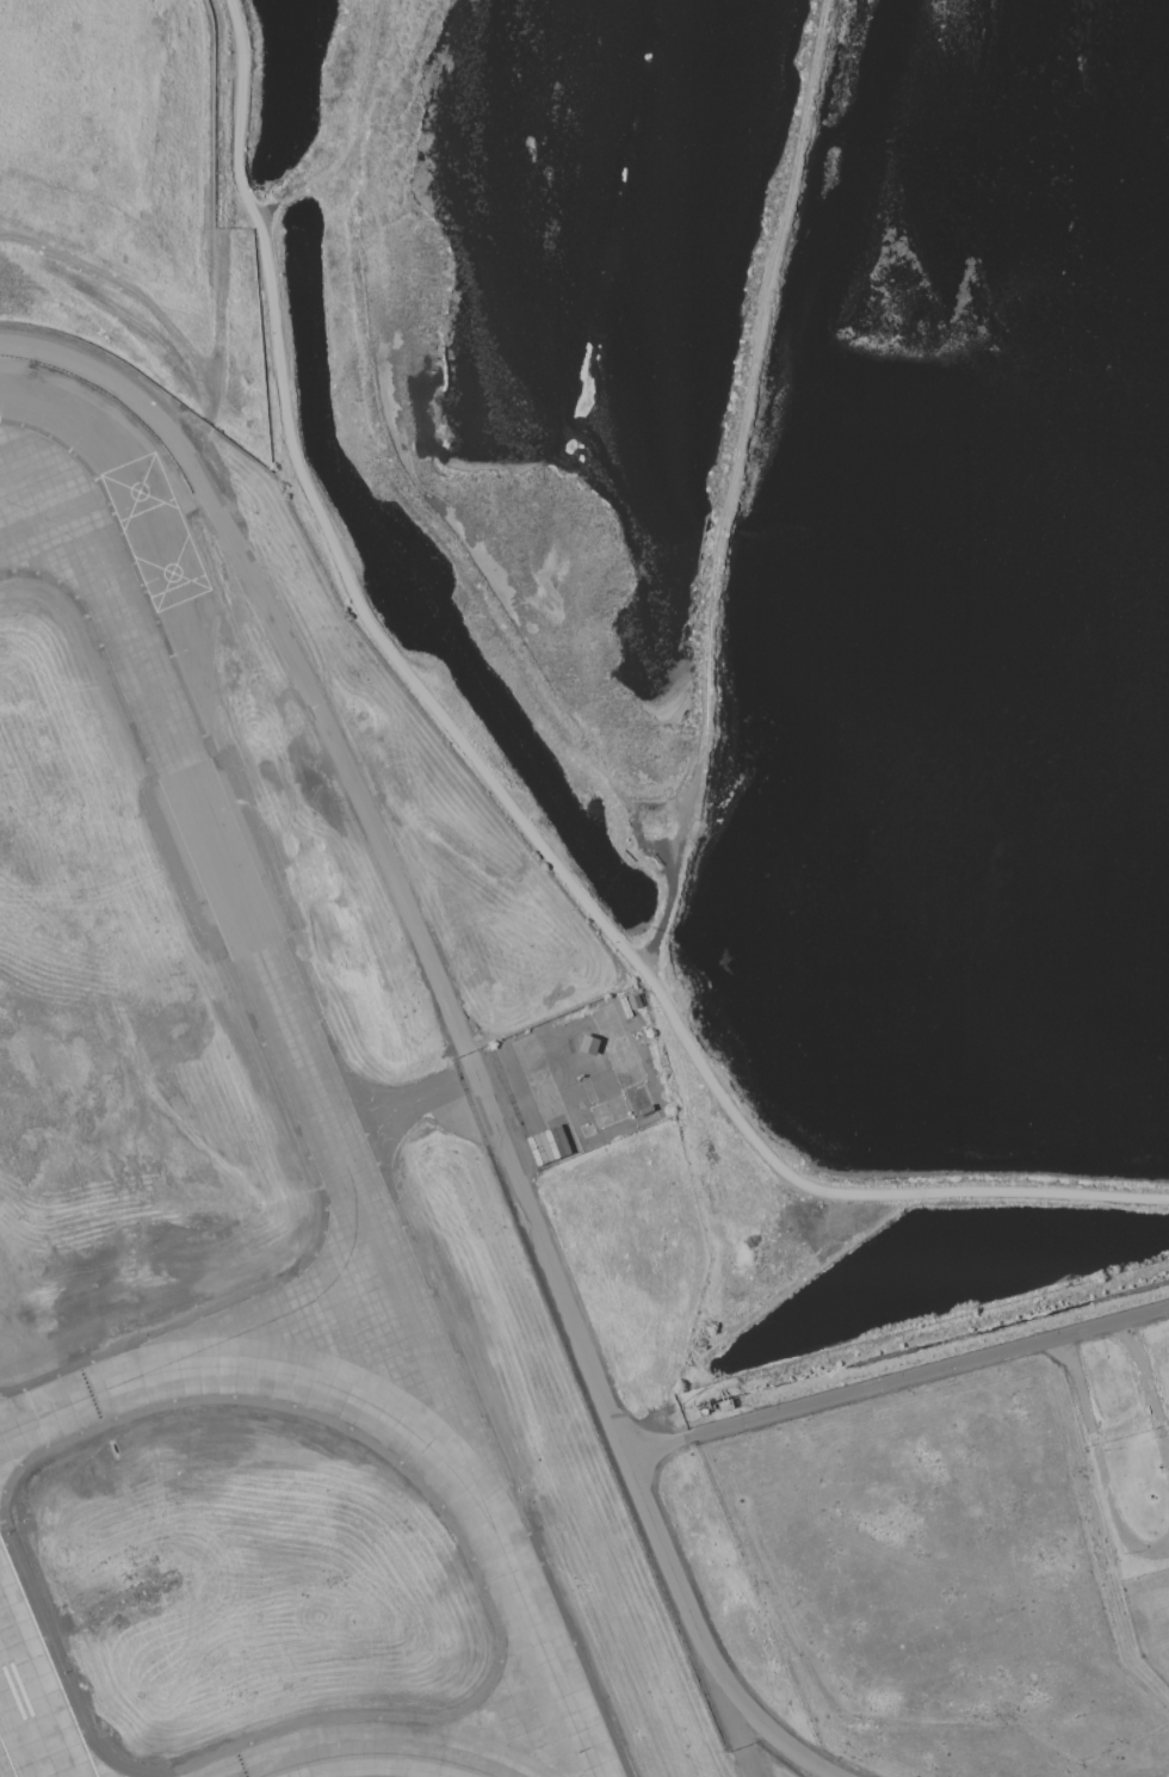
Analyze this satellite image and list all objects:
road: (354, 136)
road: (219, 200)
road: (129, 290)
road: (202, 431)
airport taxiway: (64, 531)
road: (497, 792)
road: (457, 1025)
airport: (272, 1173)
airport taxiway: (354, 1180)
airport taxiway: (284, 1319)
road: (897, 1381)
road: (1148, 1394)
airport taxiway: (336, 1395)
airport taxiway: (61, 1411)
road: (1099, 1461)
road: (725, 1701)
airport taxiway: (372, 1747)
airport runway: (8, 1756)

